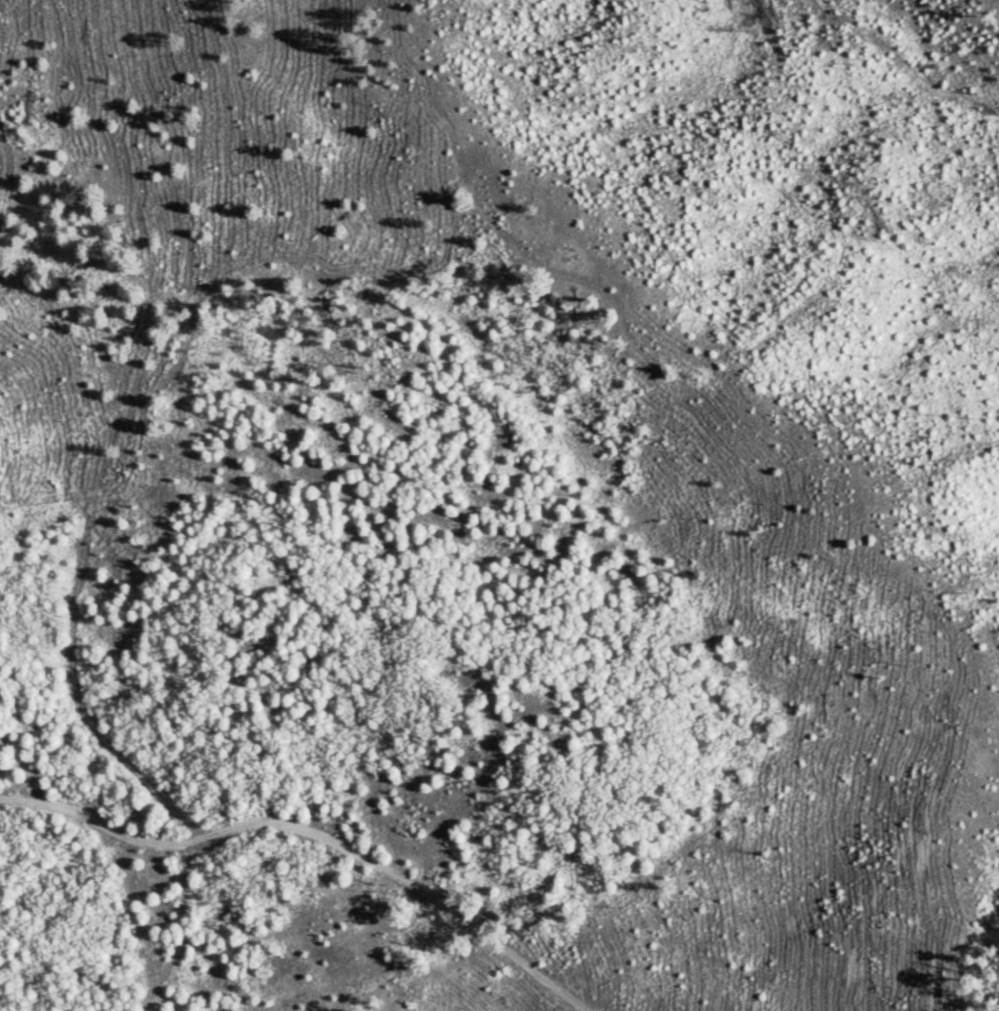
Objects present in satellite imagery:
road: (118, 430)
road: (788, 483)
road: (313, 840)

